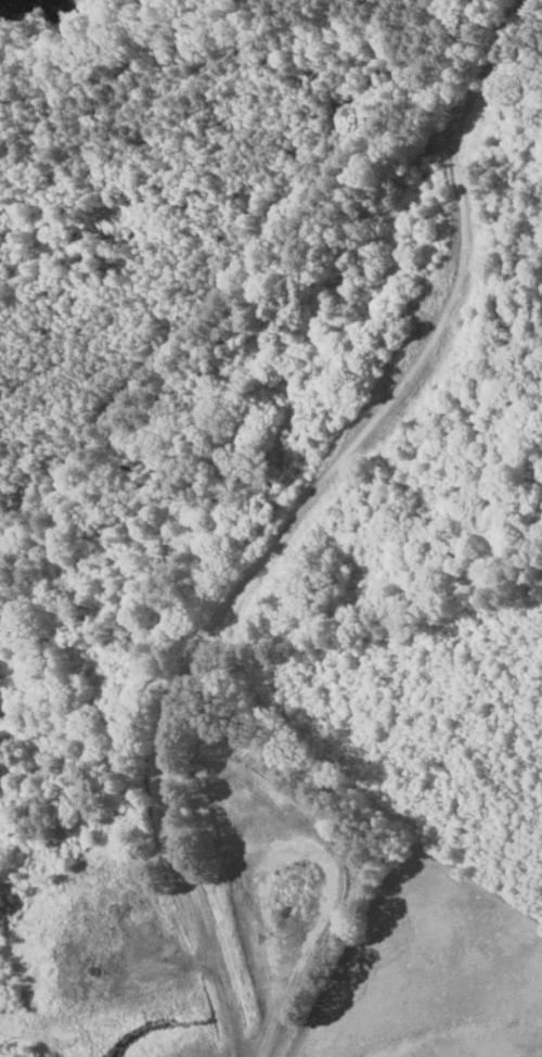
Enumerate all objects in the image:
road: (126, 867)

